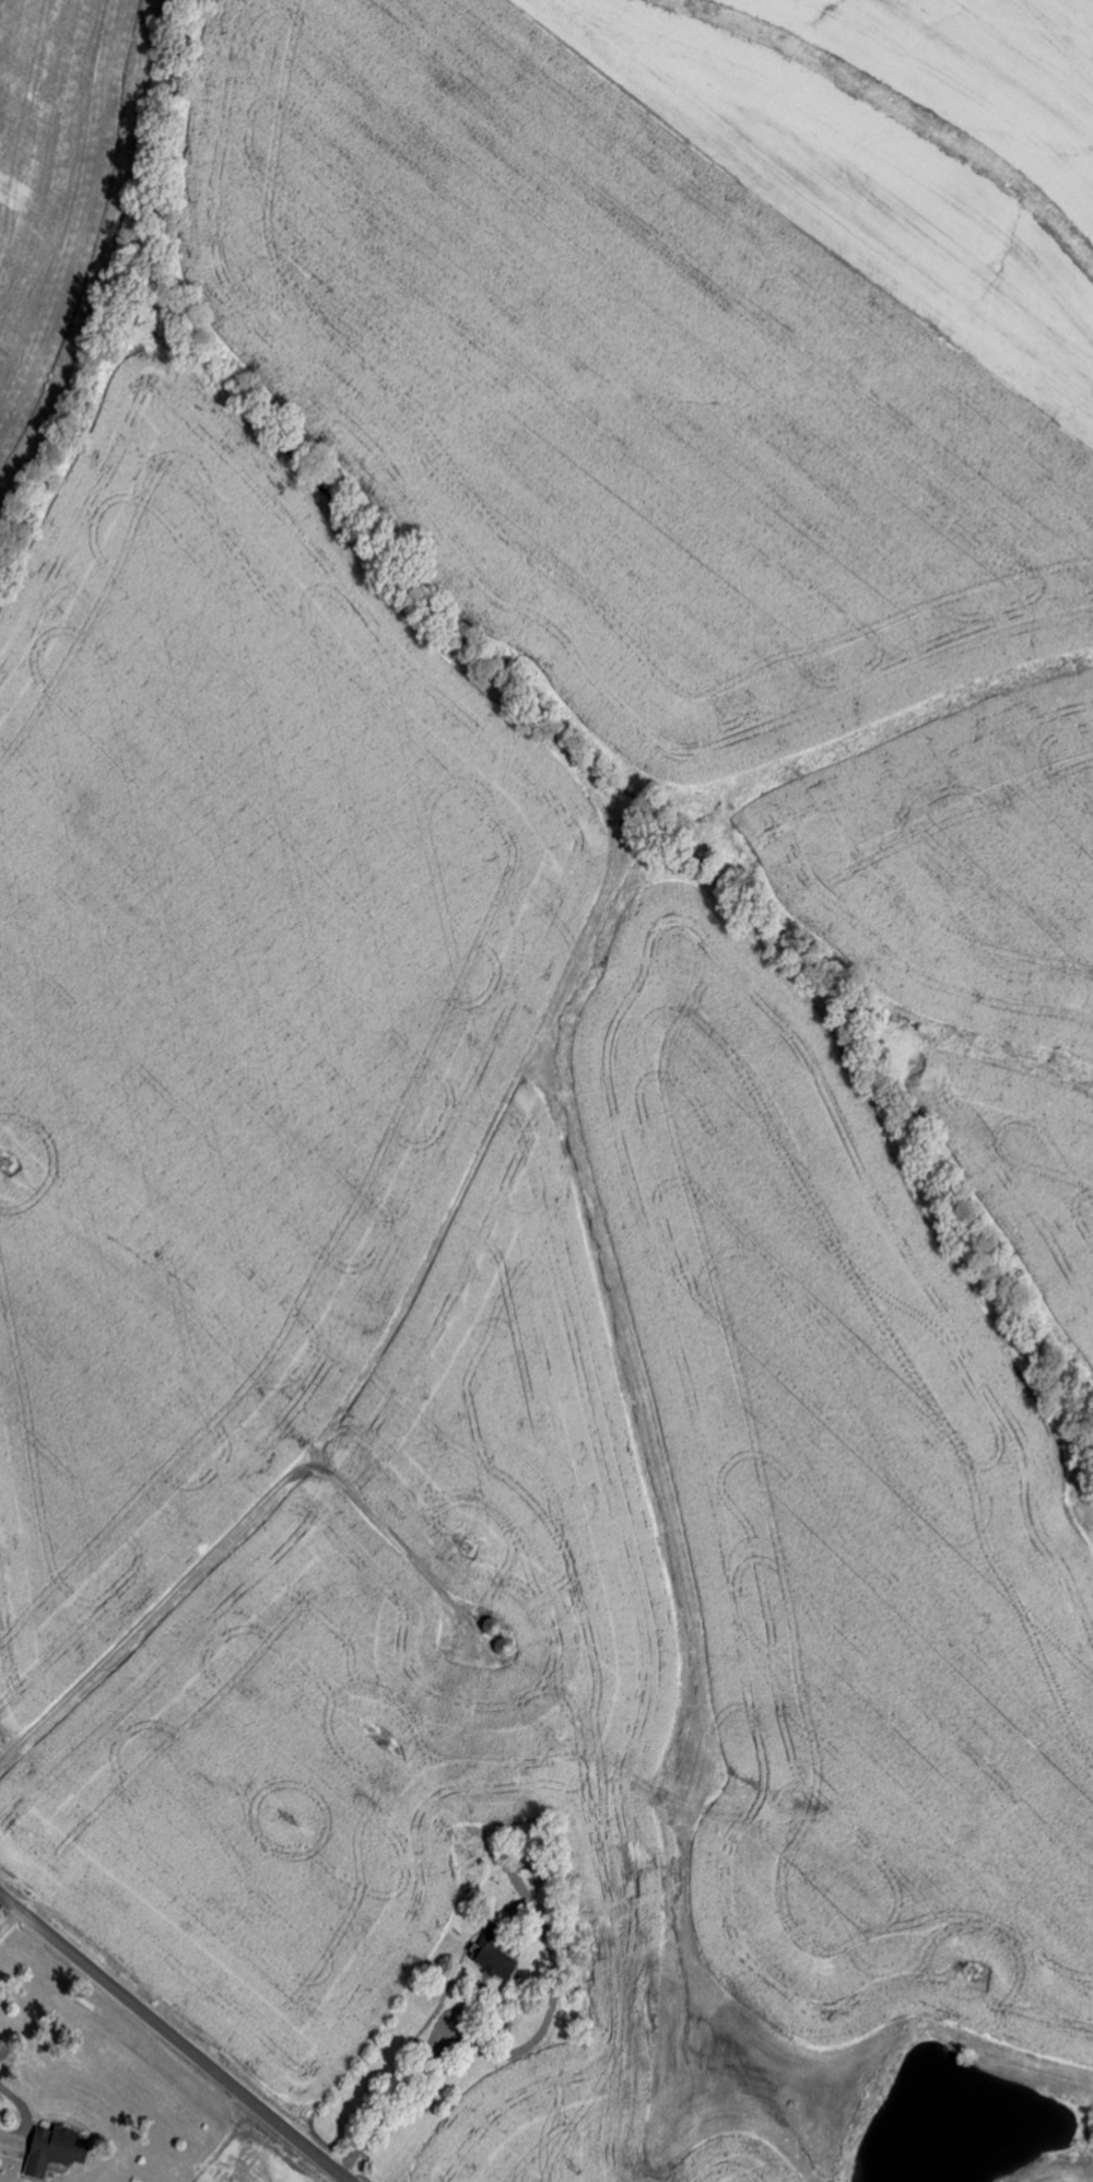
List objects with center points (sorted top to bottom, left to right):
building: (496, 1955)
road: (176, 2036)
building: (60, 2150)

